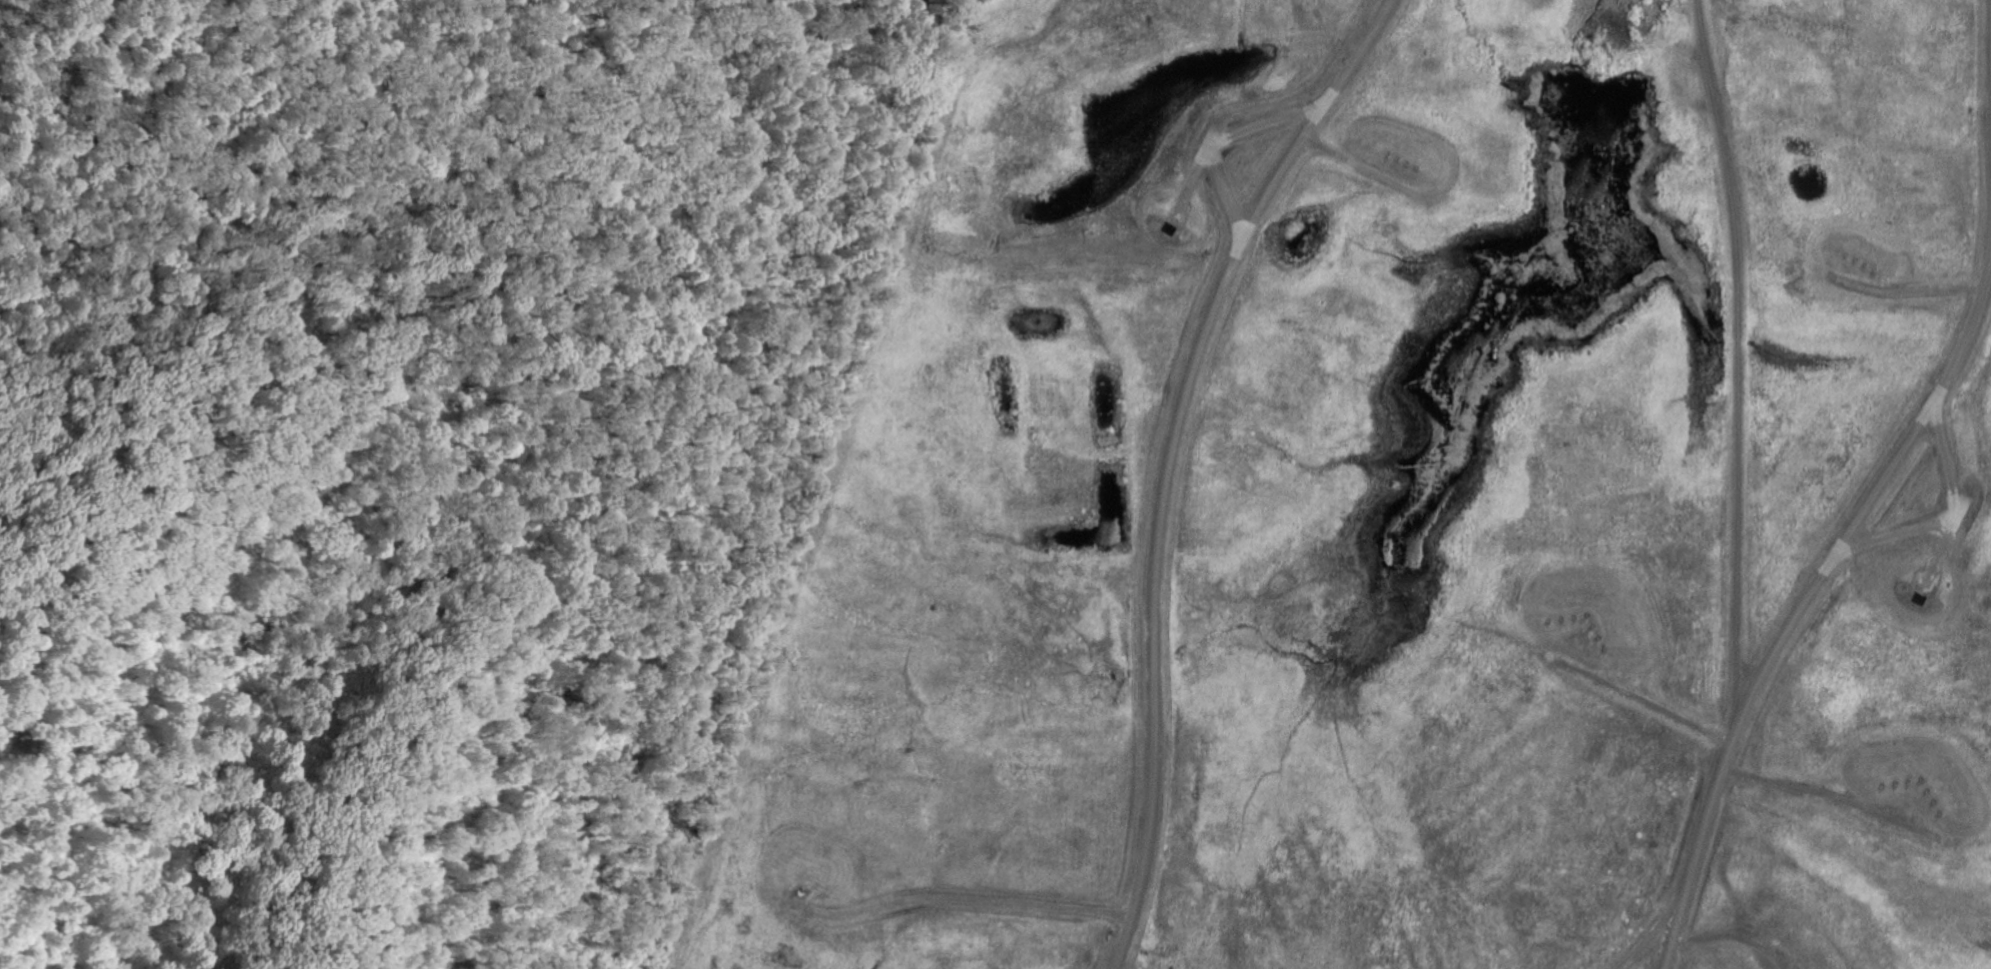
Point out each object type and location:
road: (1740, 350)
road: (1882, 483)
road: (1718, 786)
road: (1660, 924)

